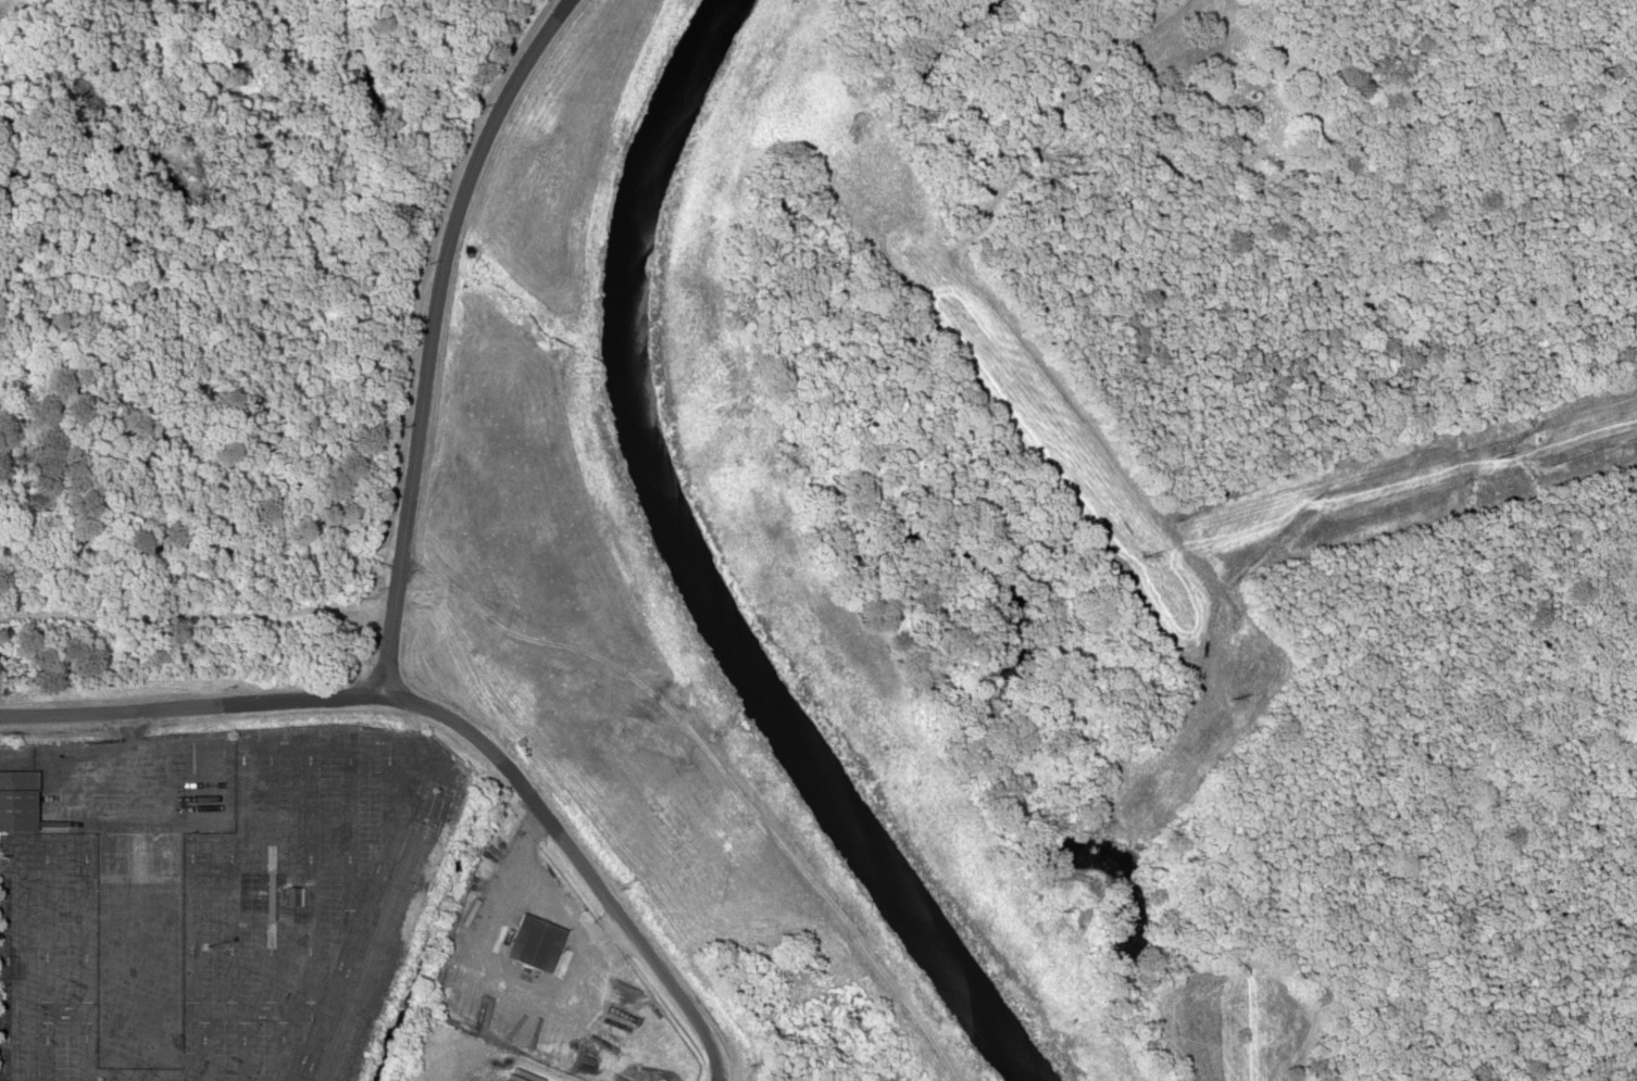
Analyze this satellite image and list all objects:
road: (421, 332)
road: (214, 703)
building: (15, 799)
road: (595, 878)
railway: (380, 932)
building: (532, 942)
railway: (1626, 1056)

